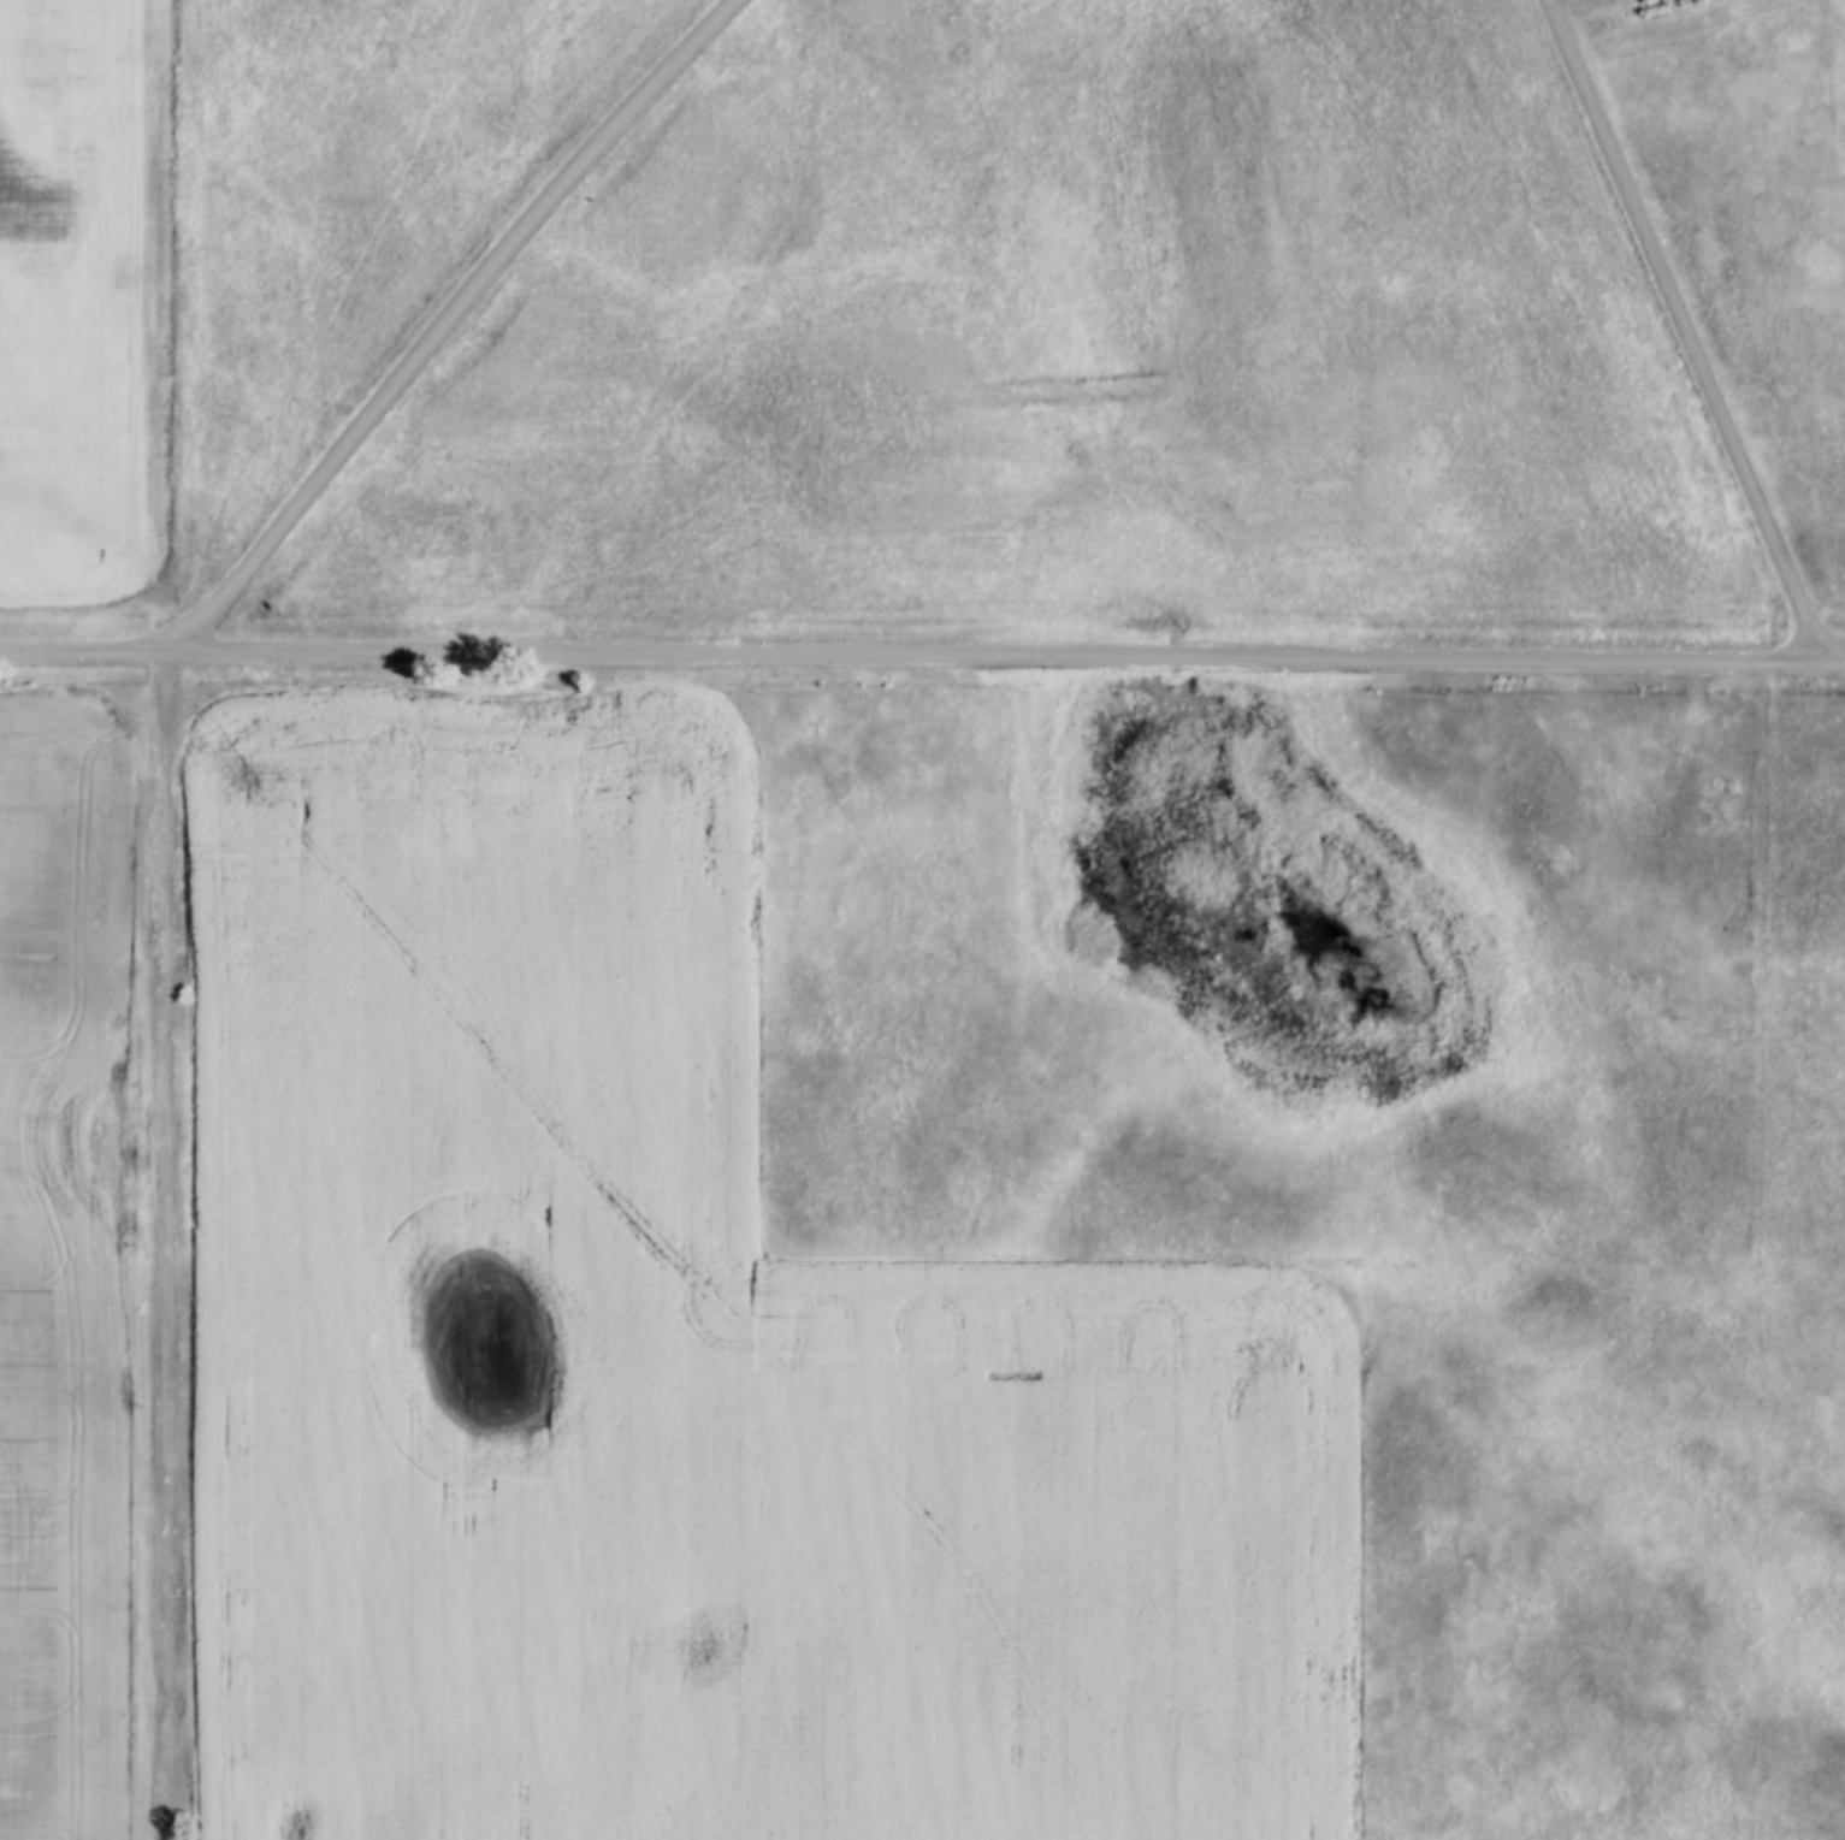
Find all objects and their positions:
road: (445, 320)
road: (1685, 330)
road: (922, 652)
road: (171, 1244)

